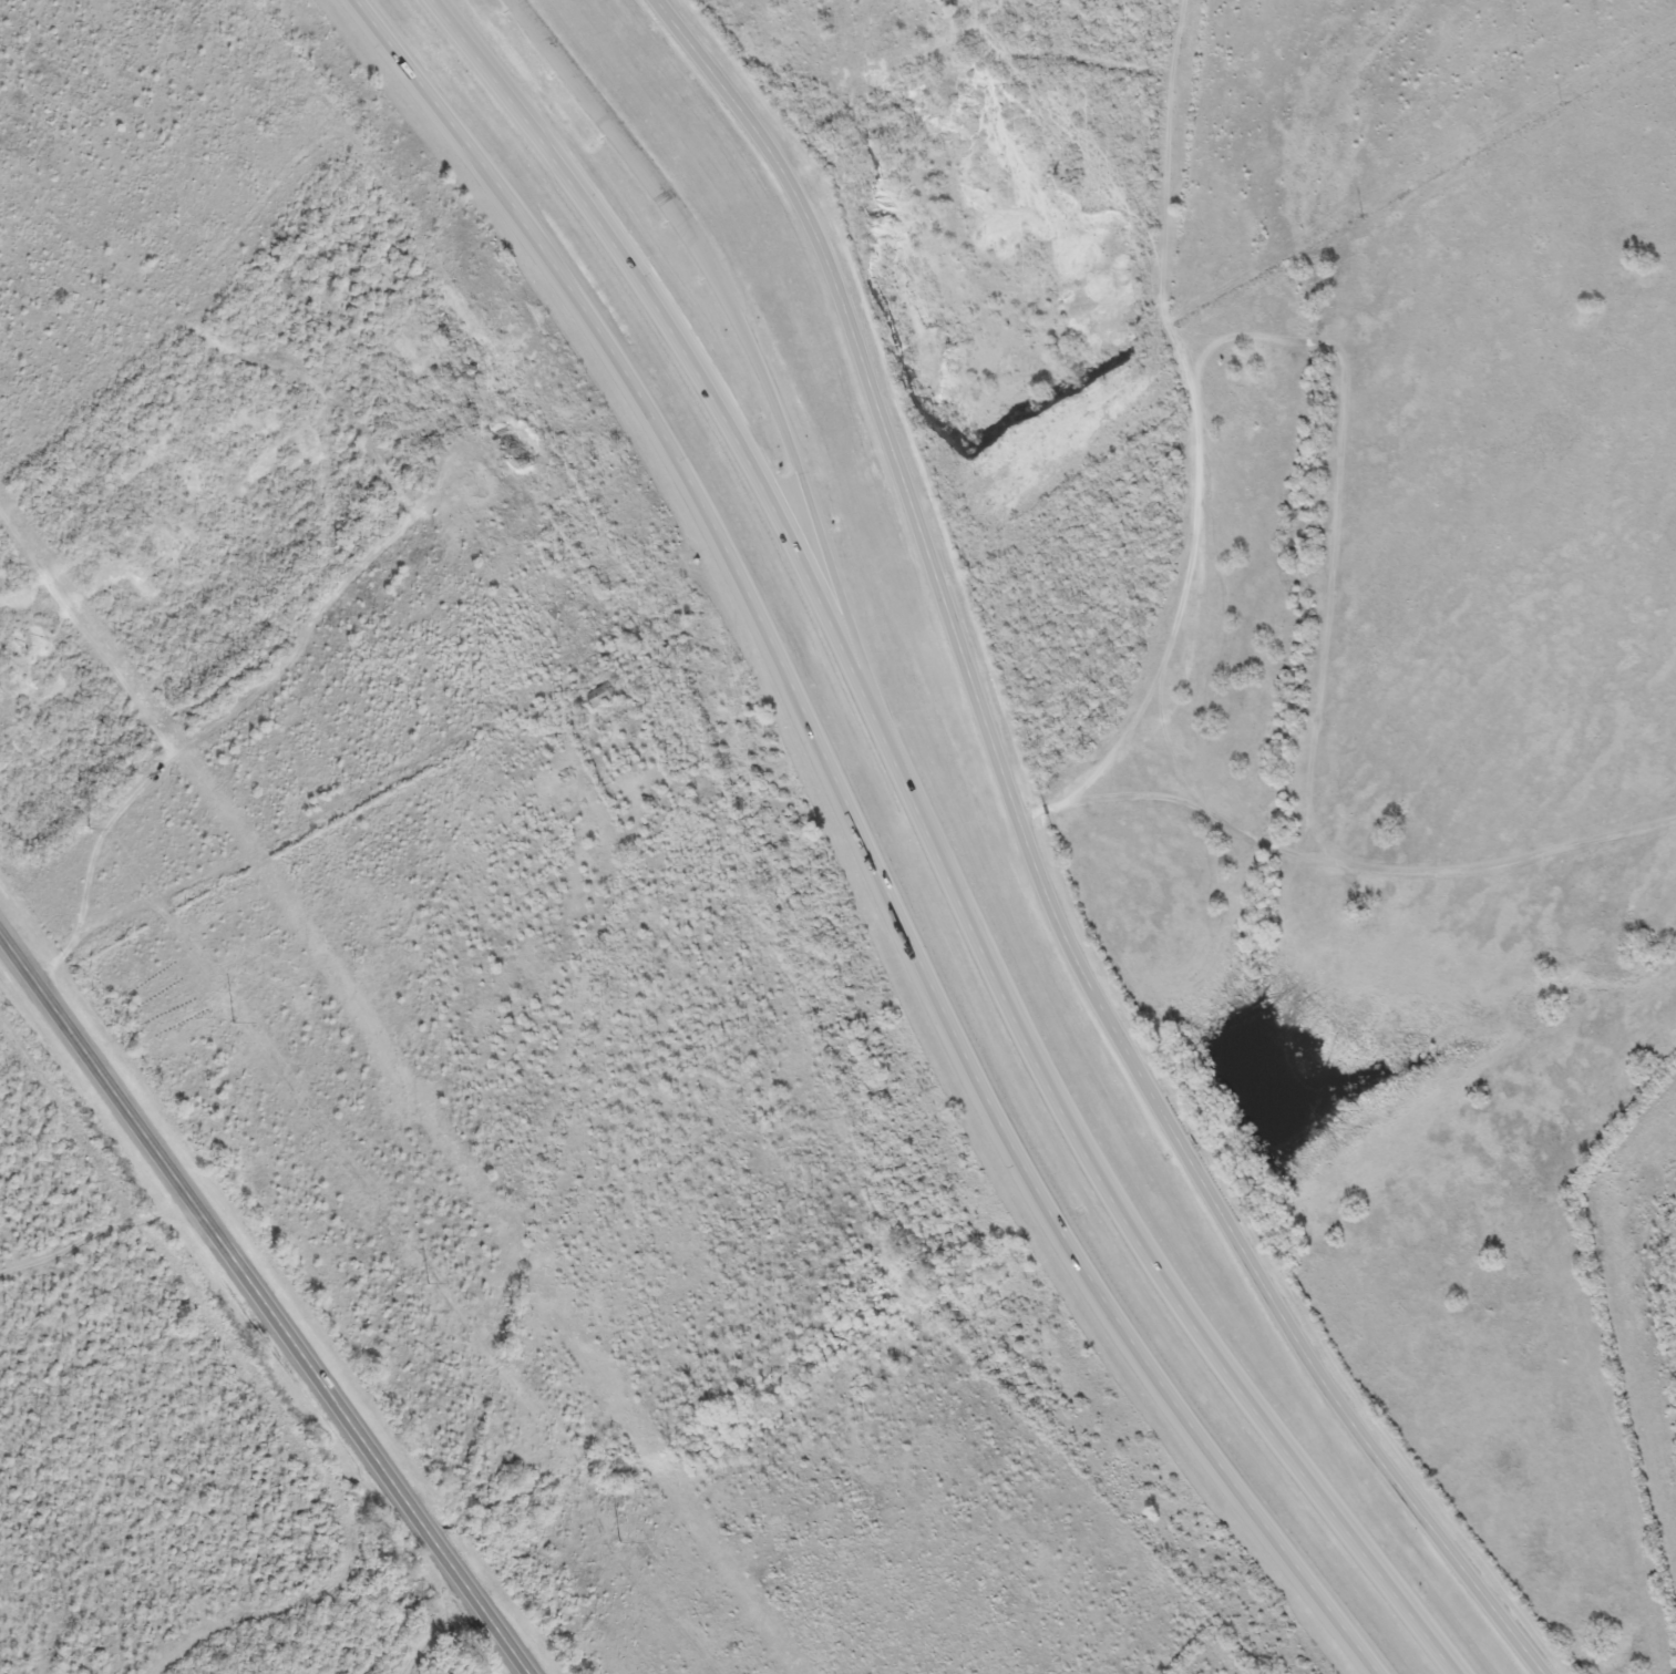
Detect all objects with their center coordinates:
road: (633, 148)
road: (769, 390)
road: (843, 607)
building: (601, 696)
power tower: (83, 830)
road: (858, 839)
road: (933, 846)
road: (1035, 867)
power tower: (229, 1025)
power tower: (424, 1282)
road: (265, 1303)
power tower: (618, 1543)

